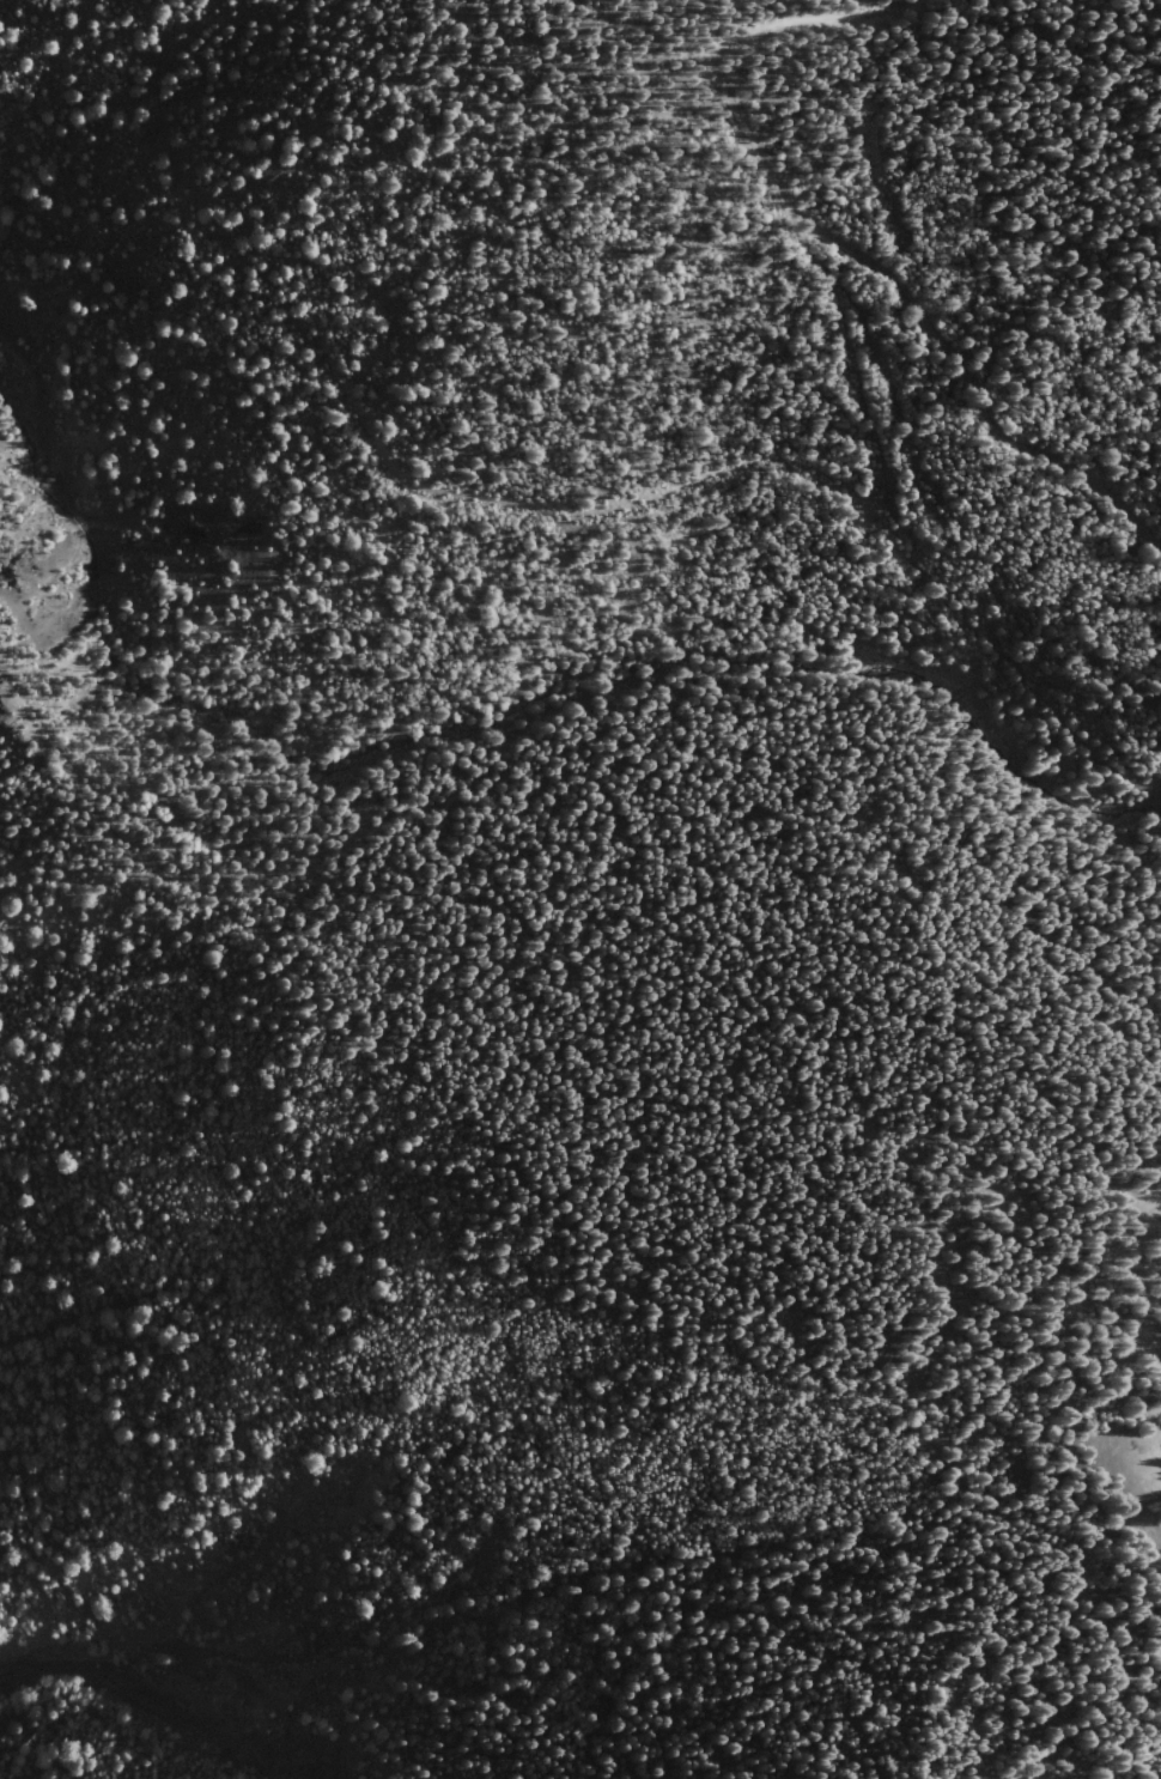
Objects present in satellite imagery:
road: (838, 243)
road: (44, 400)
road: (896, 417)
road: (713, 480)
road: (41, 486)
road: (900, 551)
road: (652, 676)
road: (1141, 1329)
road: (918, 1359)

